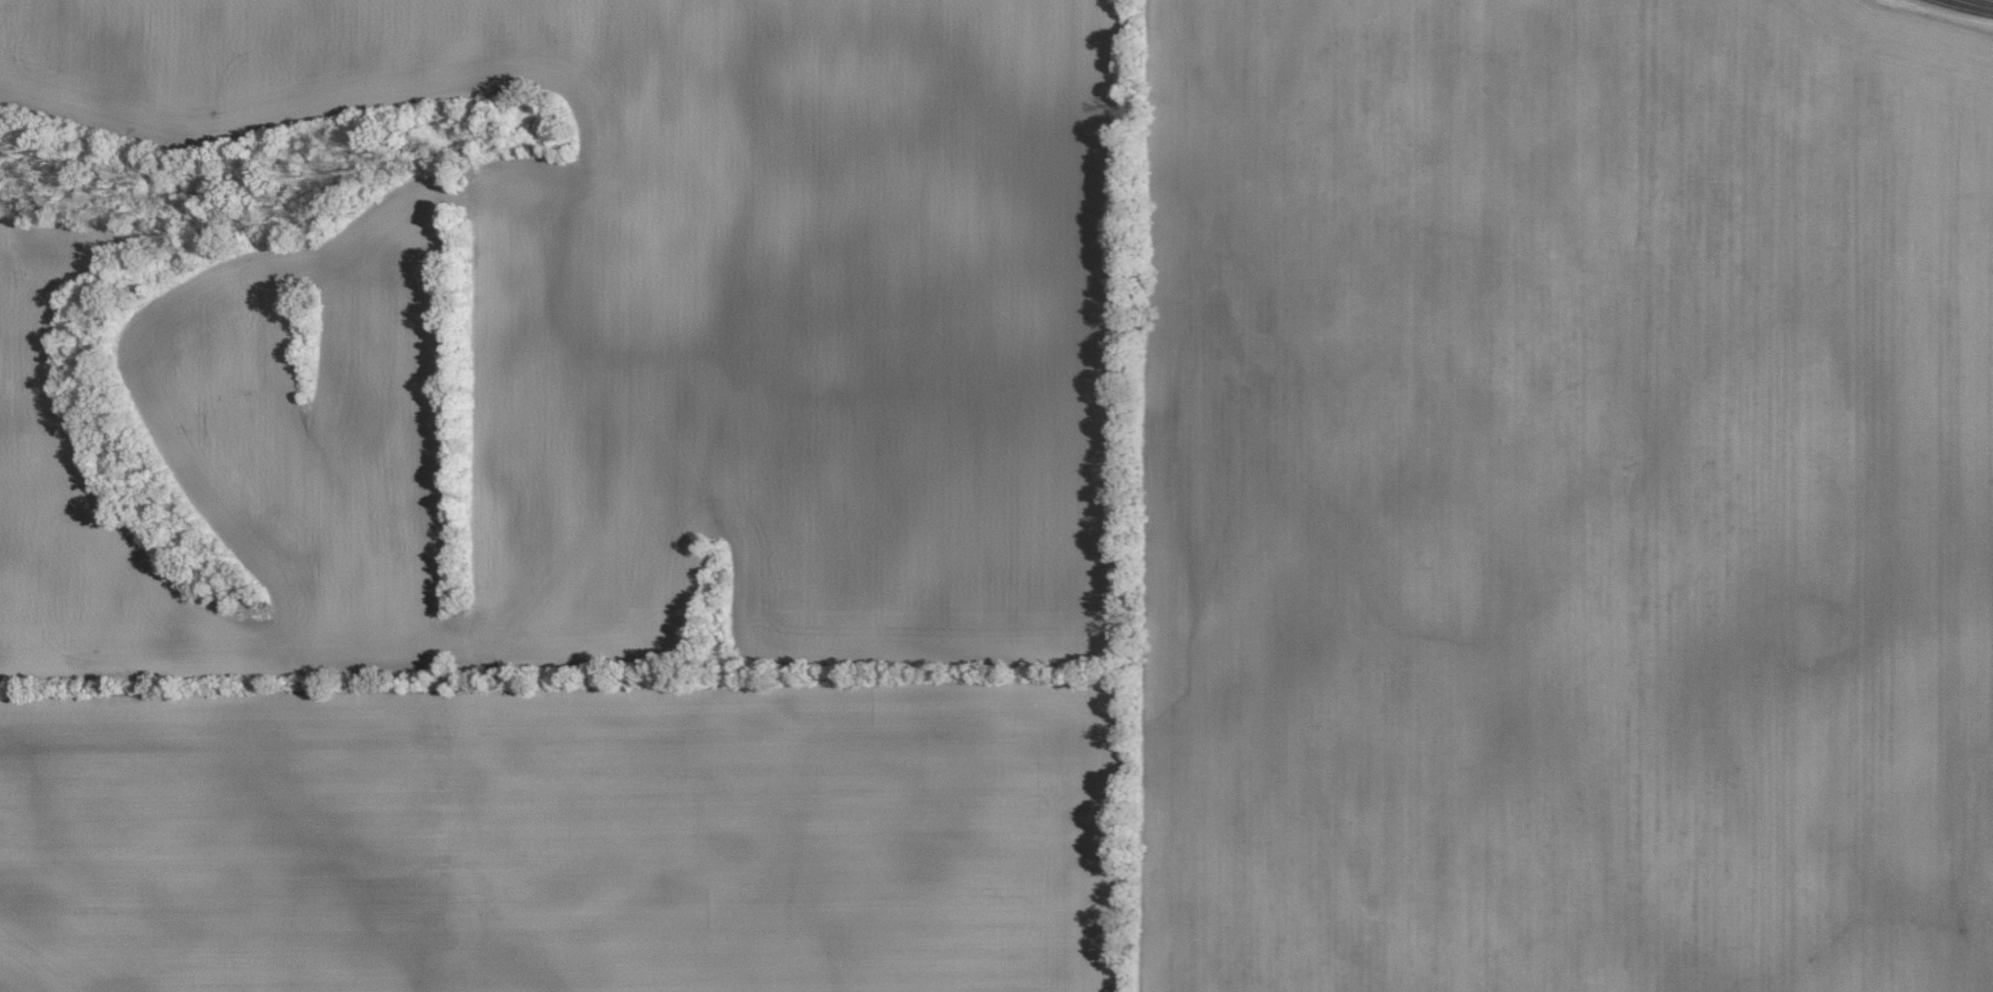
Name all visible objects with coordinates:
road: (1983, 2)

